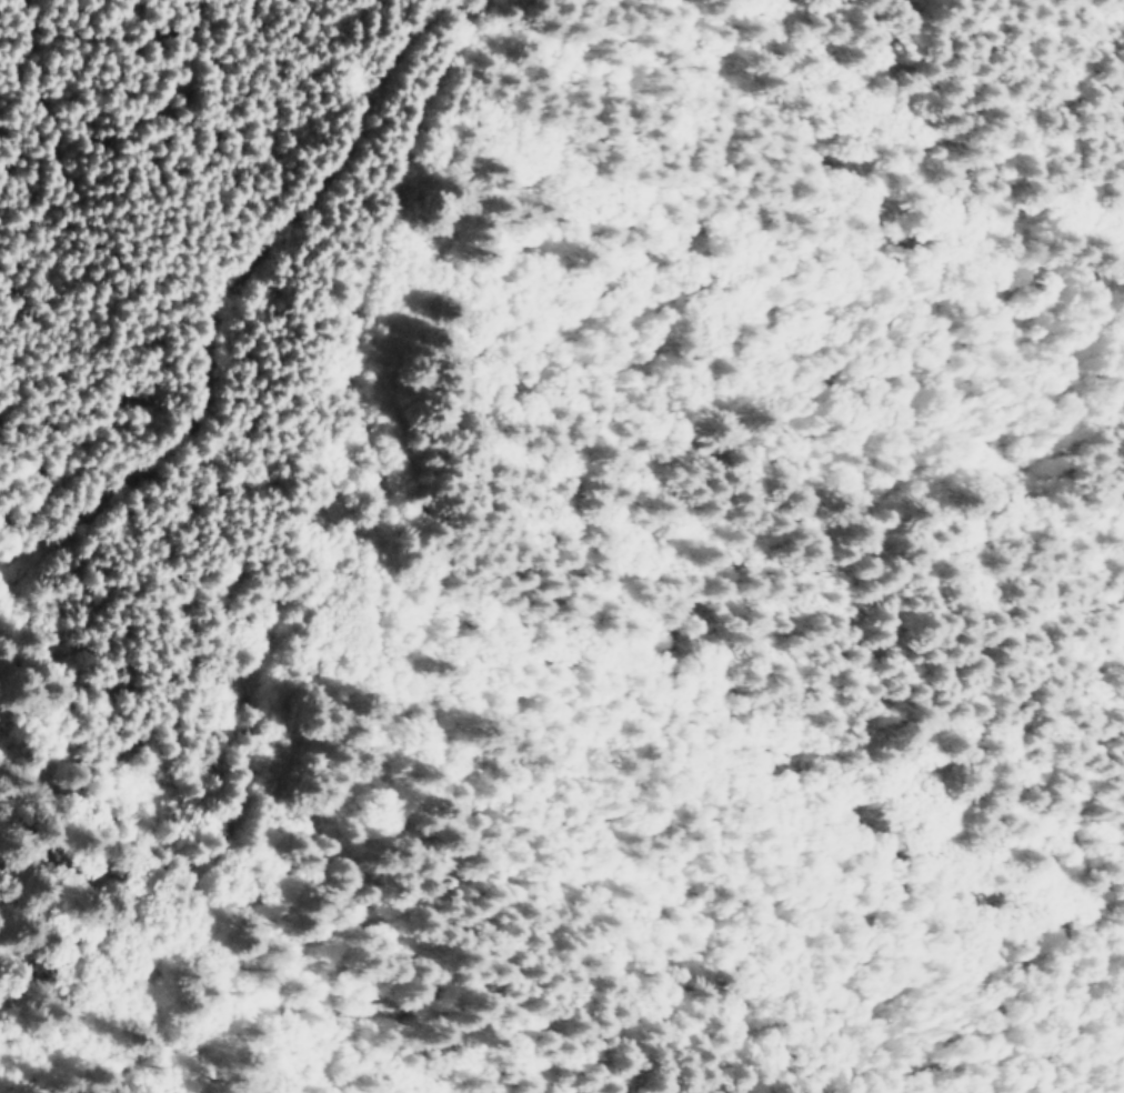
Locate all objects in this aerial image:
road: (334, 568)

